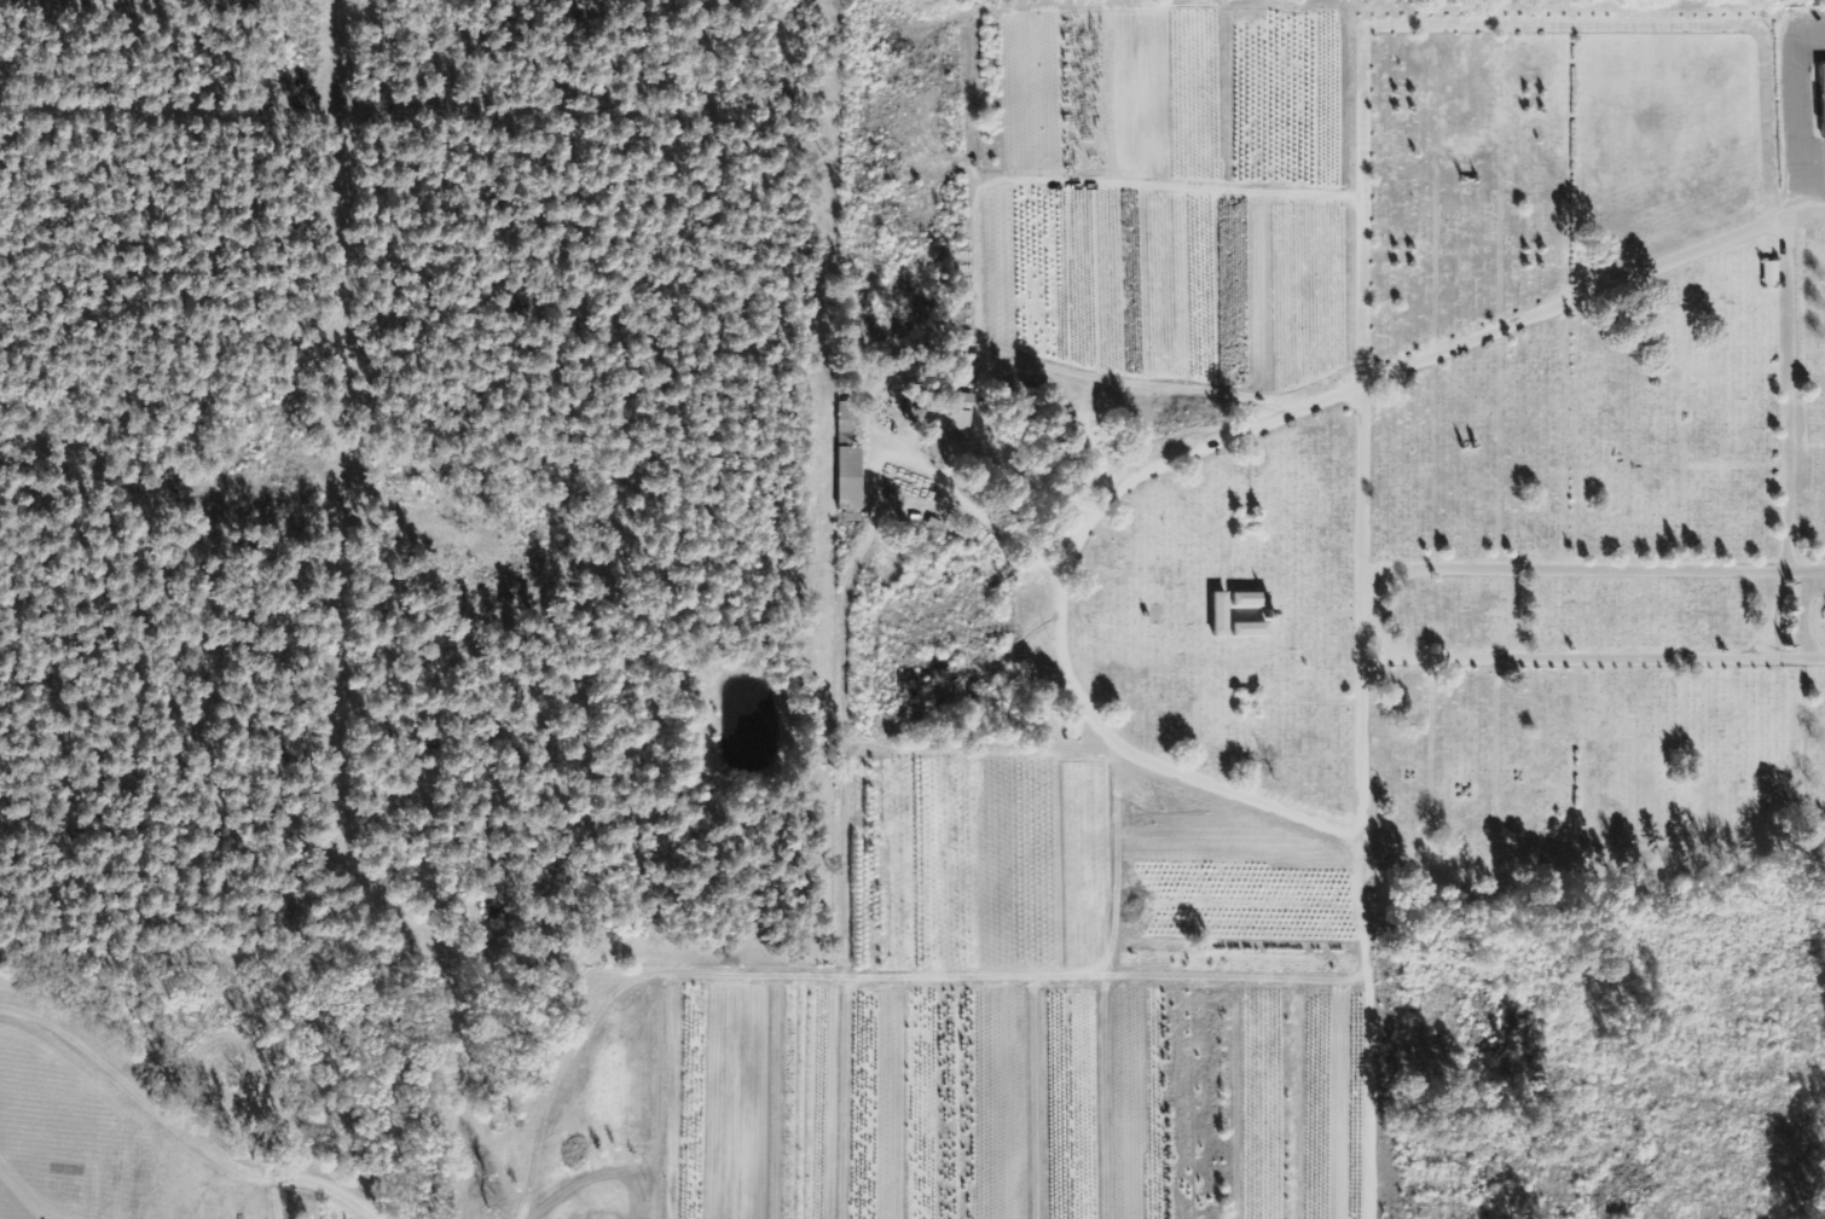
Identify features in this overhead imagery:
road: (1429, 24)
building: (1823, 92)
building: (1772, 274)
road: (1416, 364)
building: (963, 412)
building: (846, 418)
building: (851, 478)
park: (1516, 478)
road: (1594, 569)
building: (1252, 600)
building: (1222, 616)
road: (1774, 616)
road: (1813, 616)
building: (1253, 631)
road: (1594, 657)

